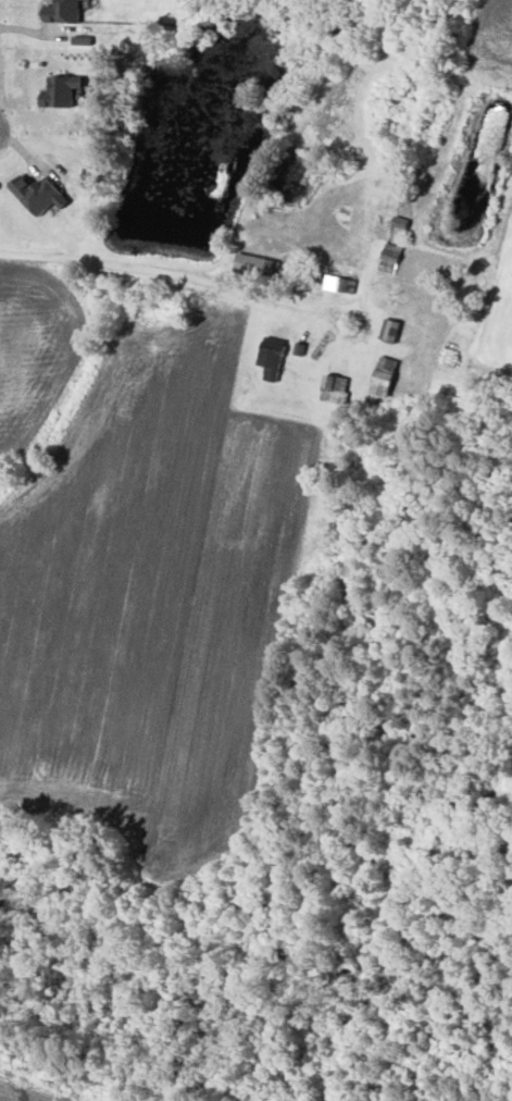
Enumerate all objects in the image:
building: (63, 12)
building: (62, 91)
building: (39, 194)
building: (390, 257)
building: (265, 267)
road: (159, 270)
building: (340, 283)
building: (391, 330)
building: (273, 357)
building: (385, 375)
building: (335, 387)

